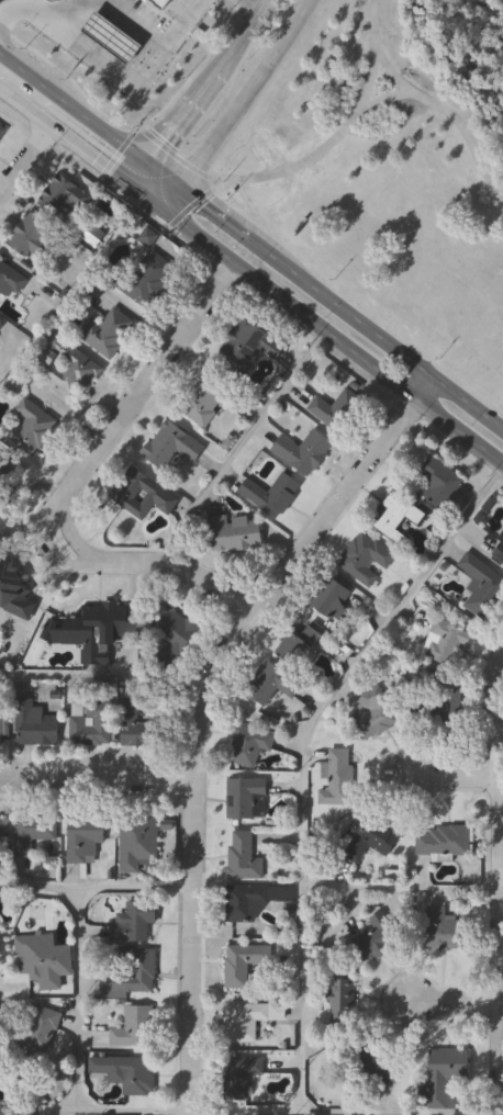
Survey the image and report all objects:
building: (165, 3)
road: (248, 5)
road: (68, 16)
road: (137, 21)
road: (244, 30)
building: (115, 37)
gas station: (115, 37)
road: (112, 72)
road: (247, 95)
road: (384, 102)
road: (426, 102)
road: (72, 110)
road: (185, 112)
building: (1, 134)
road: (64, 137)
road: (323, 153)
road: (23, 159)
traffic signals: (145, 164)
park: (390, 171)
road: (136, 173)
road: (161, 176)
traffic signals: (127, 184)
traffic signals: (179, 189)
road: (145, 196)
building: (60, 198)
road: (170, 199)
traffic signals: (163, 210)
road: (214, 214)
building: (32, 235)
building: (145, 278)
building: (10, 279)
building: (1, 328)
building: (108, 333)
road: (375, 336)
road: (331, 339)
building: (250, 343)
building: (67, 365)
road: (155, 375)
building: (202, 397)
building: (335, 408)
building: (32, 427)
building: (171, 444)
road: (241, 444)
building: (303, 450)
building: (4, 468)
building: (439, 482)
building: (142, 494)
building: (271, 494)
building: (395, 518)
building: (234, 532)
road: (72, 534)
building: (501, 541)
road: (48, 549)
building: (365, 559)
road: (189, 570)
building: (480, 584)
building: (14, 593)
building: (333, 598)
building: (98, 623)
building: (170, 634)
building: (446, 644)
building: (295, 645)
road: (105, 674)
building: (271, 684)
building: (438, 706)
building: (377, 709)
road: (205, 710)
building: (91, 722)
building: (35, 724)
building: (137, 727)
building: (1, 728)
road: (500, 734)
road: (308, 742)
building: (248, 744)
building: (337, 778)
road: (456, 781)
road: (98, 787)
building: (244, 796)
building: (1, 832)
building: (32, 832)
building: (85, 837)
building: (368, 838)
building: (441, 841)
building: (138, 842)
building: (243, 856)
road: (97, 888)
building: (243, 901)
building: (134, 922)
building: (441, 930)
building: (378, 937)
building: (42, 957)
building: (244, 962)
building: (127, 972)
road: (79, 1000)
building: (342, 1001)
road: (458, 1003)
building: (245, 1020)
building: (134, 1026)
building: (40, 1028)
building: (0, 1062)
building: (383, 1065)
building: (133, 1073)
building: (239, 1073)
building: (446, 1075)
road: (94, 1113)
road: (322, 1113)

